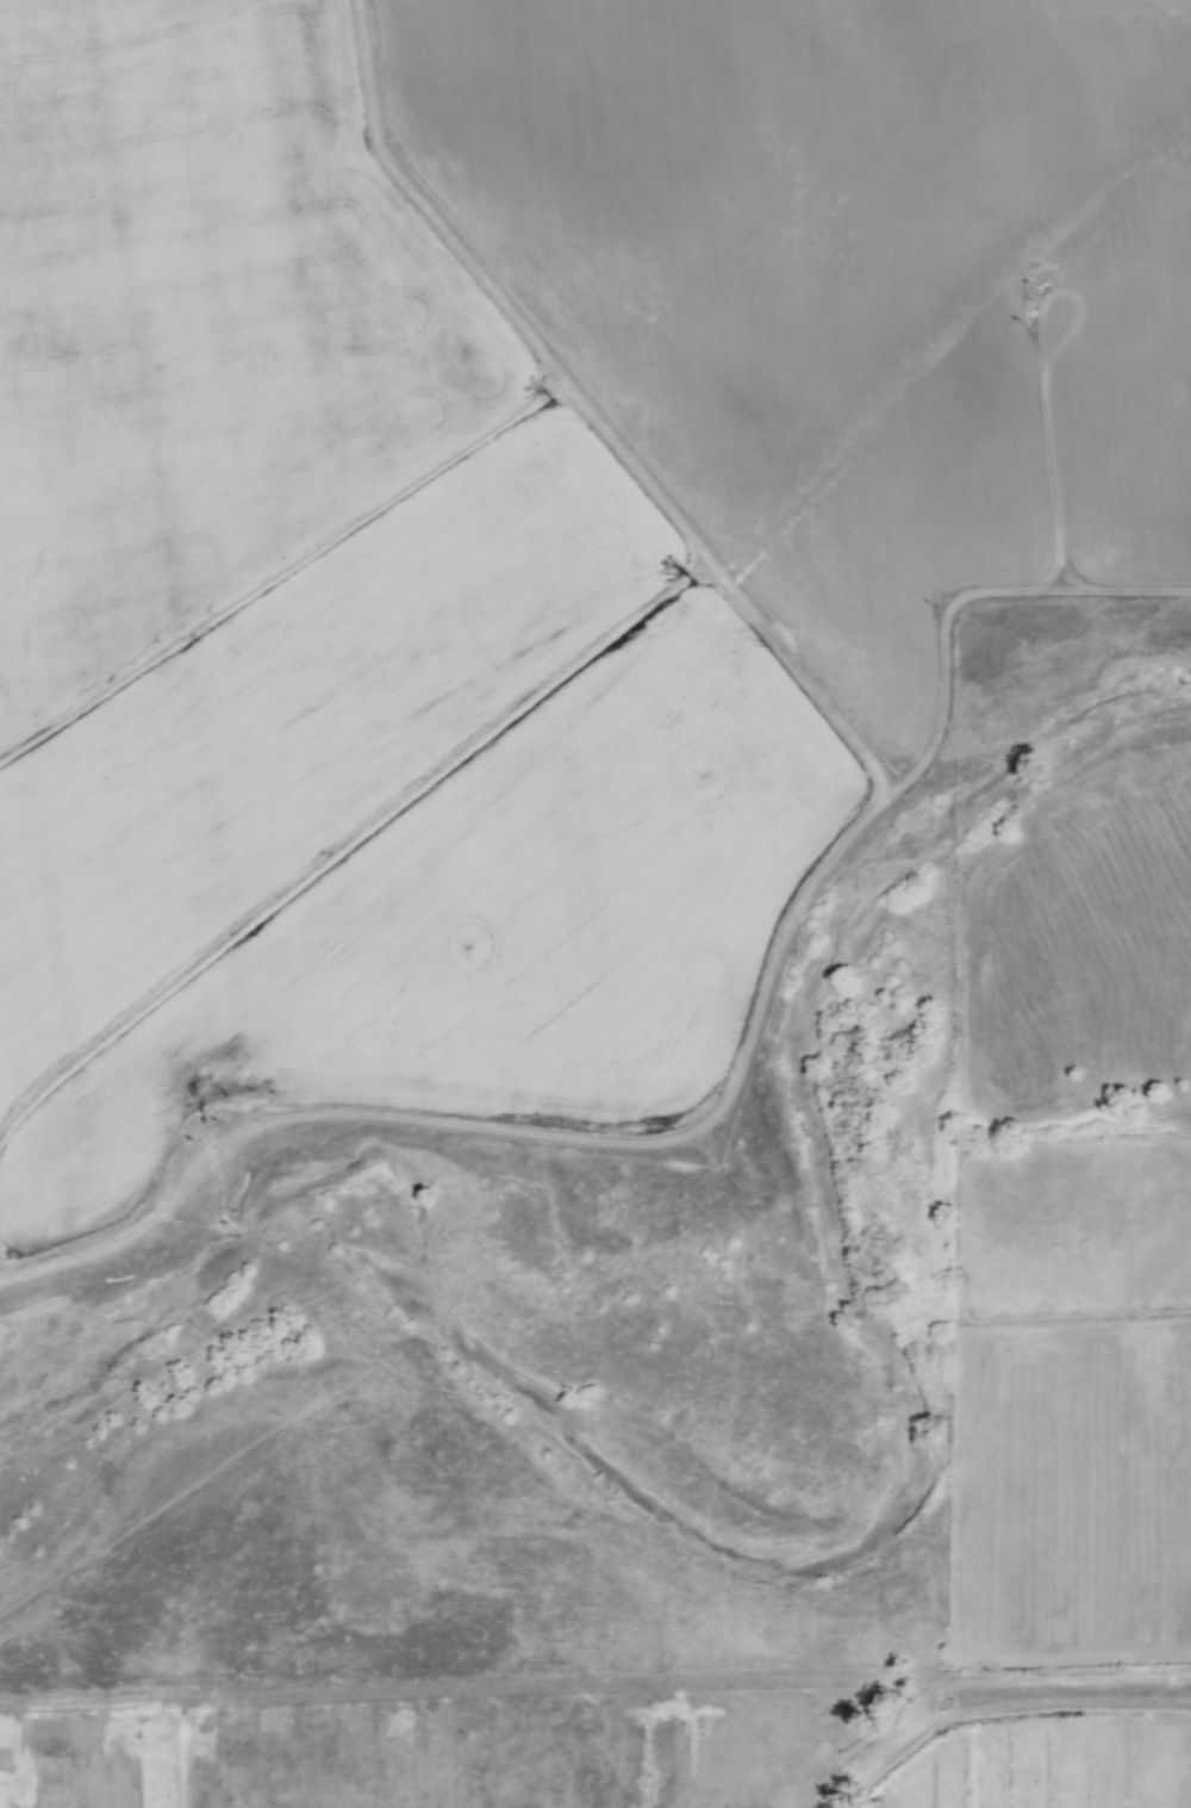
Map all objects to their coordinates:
road: (1135, 262)
road: (805, 866)
road: (1184, 1042)

